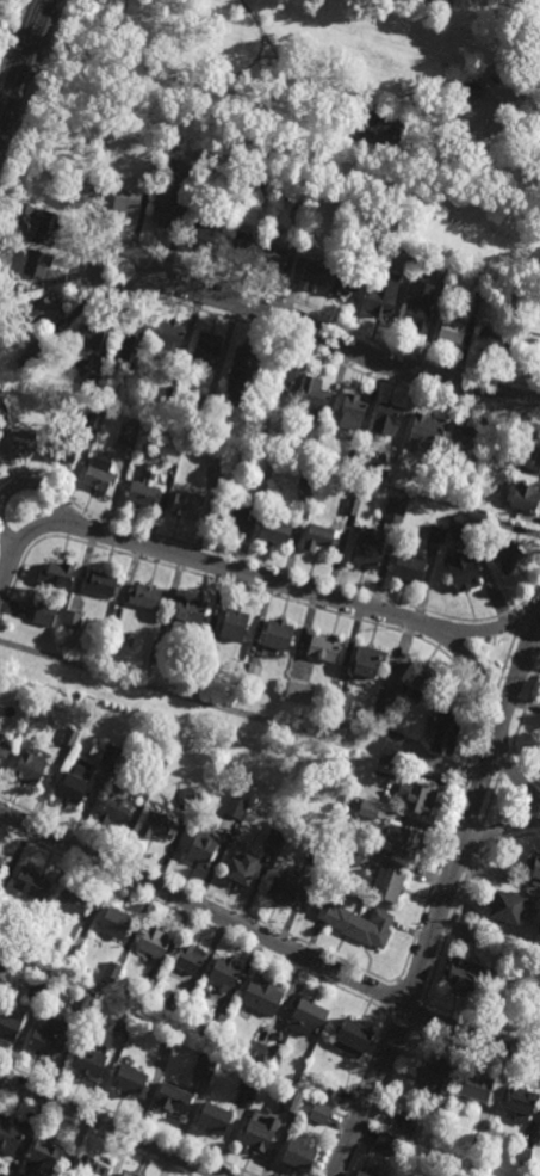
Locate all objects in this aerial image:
railway: (20, 50)
road: (266, 56)
railway: (25, 63)
road: (285, 64)
road: (236, 73)
road: (448, 84)
building: (470, 88)
road: (212, 90)
park: (334, 94)
park: (378, 127)
building: (153, 166)
building: (267, 180)
building: (81, 191)
building: (129, 193)
building: (167, 199)
building: (223, 201)
building: (24, 211)
building: (298, 221)
building: (49, 222)
building: (197, 233)
road: (113, 244)
building: (237, 245)
building: (370, 248)
building: (271, 255)
building: (408, 260)
building: (37, 261)
road: (80, 264)
building: (310, 269)
building: (446, 269)
building: (483, 278)
building: (345, 281)
building: (14, 287)
building: (516, 288)
building: (380, 302)
building: (49, 308)
building: (416, 316)
building: (451, 327)
building: (168, 333)
building: (89, 334)
building: (490, 340)
road: (341, 341)
building: (207, 344)
building: (131, 349)
building: (539, 349)
building: (33, 355)
building: (241, 363)
building: (280, 369)
building: (110, 371)
building: (92, 381)
building: (170, 394)
building: (312, 398)
building: (207, 402)
building: (352, 411)
building: (2, 412)
building: (386, 417)
building: (134, 419)
building: (94, 421)
building: (281, 424)
building: (424, 431)
building: (463, 435)
building: (128, 436)
building: (23, 442)
building: (66, 448)
building: (534, 454)
building: (173, 456)
building: (447, 456)
building: (354, 457)
building: (496, 457)
building: (215, 466)
building: (100, 475)
building: (465, 476)
building: (308, 478)
building: (262, 481)
road: (42, 485)
building: (144, 488)
building: (526, 497)
building: (186, 504)
building: (352, 504)
building: (395, 509)
building: (231, 516)
building: (458, 528)
building: (274, 529)
building: (436, 534)
road: (6, 537)
building: (319, 537)
building: (368, 548)
building: (507, 556)
road: (253, 564)
building: (408, 567)
building: (463, 571)
building: (58, 574)
road: (262, 579)
building: (99, 583)
road: (240, 587)
road: (532, 595)
building: (145, 596)
building: (44, 611)
building: (187, 612)
road: (520, 617)
building: (72, 620)
building: (232, 624)
road: (467, 629)
building: (112, 635)
building: (277, 635)
building: (322, 647)
building: (161, 652)
road: (507, 660)
building: (366, 661)
building: (250, 672)
building: (416, 679)
building: (35, 694)
building: (298, 694)
building: (341, 704)
building: (384, 706)
road: (491, 706)
road: (523, 709)
building: (445, 733)
building: (70, 737)
building: (391, 744)
building: (4, 753)
building: (111, 755)
building: (539, 755)
road: (503, 759)
road: (521, 765)
building: (383, 768)
building: (30, 769)
road: (515, 776)
building: (154, 780)
building: (73, 787)
road: (491, 798)
building: (190, 799)
building: (416, 799)
building: (234, 807)
building: (117, 811)
building: (368, 811)
building: (156, 826)
road: (488, 832)
building: (273, 837)
road: (477, 841)
building: (403, 842)
road: (501, 843)
building: (199, 845)
road: (443, 850)
building: (315, 852)
building: (343, 852)
building: (0, 861)
building: (240, 864)
building: (1, 867)
building: (534, 868)
building: (387, 882)
building: (31, 883)
building: (281, 887)
road: (199, 894)
building: (73, 900)
road: (441, 903)
building: (505, 903)
road: (198, 919)
building: (113, 921)
building: (358, 922)
road: (448, 930)
building: (472, 931)
building: (536, 931)
road: (267, 937)
building: (151, 940)
building: (66, 954)
building: (536, 955)
building: (187, 956)
building: (4, 962)
building: (223, 972)
building: (463, 972)
building: (112, 974)
building: (38, 985)
building: (147, 985)
building: (261, 995)
building: (172, 999)
building: (80, 1002)
building: (539, 1002)
building: (182, 1004)
building: (539, 1010)
building: (306, 1016)
road: (417, 1017)
building: (215, 1020)
building: (8, 1021)
building: (122, 1022)
building: (352, 1034)
building: (48, 1036)
building: (256, 1049)
building: (272, 1057)
building: (86, 1059)
building: (204, 1064)
building: (433, 1075)
building: (128, 1078)
building: (248, 1080)
building: (474, 1083)
building: (329, 1091)
building: (172, 1097)
building: (290, 1098)
road: (353, 1098)
building: (520, 1102)
road: (378, 1103)
building: (319, 1112)
building: (213, 1116)
road: (111, 1126)
building: (406, 1126)
building: (259, 1133)
building: (10, 1134)
building: (478, 1140)
building: (386, 1141)
building: (49, 1155)
building: (299, 1155)
building: (522, 1156)
building: (87, 1166)
building: (440, 1169)
building: (4, 1174)
building: (128, 1174)
building: (361, 1174)

